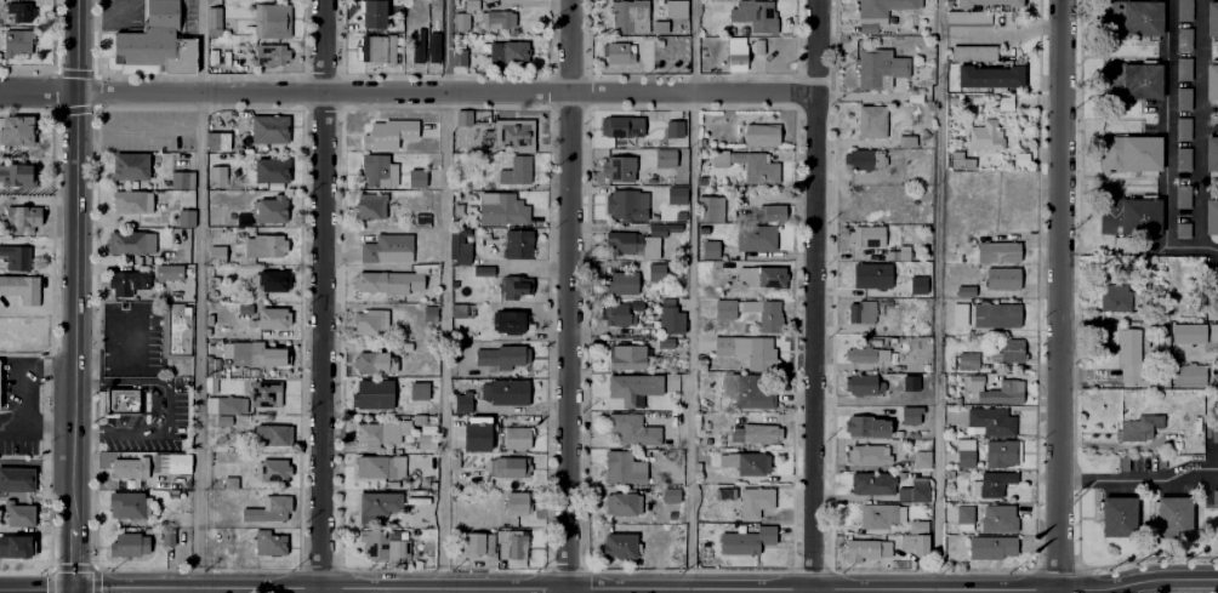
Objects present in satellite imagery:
building: (994, 0)
building: (671, 7)
building: (1182, 8)
building: (19, 10)
building: (875, 11)
building: (752, 13)
parking lot: (119, 15)
building: (375, 15)
building: (626, 15)
road: (121, 16)
building: (212, 16)
building: (964, 16)
building: (1128, 16)
building: (497, 17)
building: (460, 19)
building: (1213, 19)
building: (272, 21)
road: (93, 23)
building: (398, 24)
building: (656, 24)
building: (1182, 36)
building: (13, 40)
building: (154, 40)
building: (416, 42)
building: (756, 44)
road: (199, 45)
building: (433, 46)
building: (375, 47)
building: (507, 50)
building: (614, 50)
building: (969, 50)
building: (269, 52)
building: (733, 53)
building: (459, 55)
building: (875, 64)
building: (1182, 67)
building: (983, 72)
building: (1128, 78)
building: (1213, 82)
road: (38, 90)
road: (445, 90)
building: (910, 95)
building: (1182, 96)
building: (949, 97)
building: (973, 97)
road: (148, 107)
road: (79, 108)
road: (30, 114)
building: (463, 115)
building: (866, 118)
building: (615, 124)
road: (1200, 124)
building: (268, 126)
building: (671, 126)
building: (1180, 126)
building: (16, 129)
road: (152, 129)
building: (513, 131)
building: (395, 132)
building: (757, 133)
building: (981, 133)
building: (215, 137)
building: (901, 138)
building: (1127, 150)
road: (1165, 150)
road: (52, 152)
building: (1210, 152)
building: (860, 155)
building: (661, 156)
building: (1180, 156)
building: (956, 158)
building: (129, 162)
building: (614, 166)
building: (269, 167)
building: (379, 167)
building: (756, 167)
building: (516, 169)
building: (17, 176)
building: (216, 176)
building: (415, 176)
building: (181, 177)
road: (38, 189)
building: (668, 193)
building: (1180, 194)
building: (130, 199)
building: (624, 201)
building: (370, 203)
building: (501, 206)
building: (707, 206)
building: (268, 209)
building: (768, 210)
building: (1125, 211)
building: (19, 216)
building: (183, 216)
building: (1212, 216)
building: (1179, 228)
building: (865, 234)
building: (756, 236)
building: (130, 239)
building: (517, 241)
building: (630, 241)
building: (264, 244)
building: (460, 246)
building: (386, 247)
building: (710, 247)
building: (994, 250)
building: (895, 251)
building: (215, 252)
building: (15, 253)
building: (166, 269)
building: (651, 270)
building: (483, 272)
building: (871, 273)
building: (756, 274)
building: (997, 276)
building: (271, 278)
building: (125, 280)
building: (388, 280)
building: (620, 280)
building: (917, 283)
building: (1143, 285)
building: (19, 286)
building: (514, 287)
building: (961, 287)
road: (74, 293)
building: (1114, 293)
road: (321, 296)
road: (443, 296)
road: (567, 296)
road: (691, 296)
road: (814, 296)
road: (937, 296)
road: (1060, 296)
building: (461, 309)
building: (725, 309)
building: (429, 310)
building: (859, 310)
building: (613, 312)
building: (956, 313)
building: (992, 313)
building: (767, 314)
building: (271, 317)
building: (209, 318)
building: (668, 318)
building: (370, 320)
building: (513, 323)
building: (744, 327)
building: (173, 330)
building: (1185, 331)
building: (1212, 331)
building: (662, 341)
road: (198, 342)
building: (1217, 342)
building: (406, 347)
building: (744, 347)
building: (1004, 348)
building: (256, 352)
building: (860, 352)
road: (1200, 353)
building: (1127, 354)
building: (625, 355)
building: (502, 357)
building: (962, 359)
building: (421, 361)
building: (371, 363)
building: (1185, 372)
building: (972, 380)
building: (907, 381)
building: (855, 382)
road: (89, 383)
building: (628, 386)
building: (744, 389)
building: (1002, 390)
building: (264, 392)
building: (417, 392)
building: (370, 393)
building: (510, 394)
building: (463, 400)
building: (123, 401)
building: (223, 404)
road: (164, 407)
building: (462, 410)
building: (906, 412)
building: (988, 418)
building: (863, 423)
building: (627, 427)
building: (1134, 427)
road: (87, 432)
building: (381, 432)
building: (474, 432)
building: (752, 432)
building: (273, 433)
building: (512, 437)
building: (702, 439)
building: (423, 441)
building: (962, 451)
building: (998, 451)
building: (869, 452)
building: (917, 456)
building: (741, 460)
building: (178, 464)
building: (380, 464)
building: (505, 466)
building: (131, 467)
building: (620, 467)
building: (271, 468)
building: (17, 480)
building: (865, 480)
road: (1139, 480)
building: (229, 481)
building: (986, 481)
building: (910, 487)
building: (722, 491)
building: (666, 494)
building: (1212, 495)
building: (214, 497)
building: (751, 500)
building: (512, 501)
building: (617, 501)
building: (127, 504)
building: (377, 506)
building: (268, 507)
building: (961, 512)
building: (16, 514)
building: (876, 514)
building: (995, 517)
building: (1171, 517)
building: (1116, 519)
building: (915, 523)
building: (741, 538)
building: (268, 541)
building: (614, 542)
building: (915, 543)
building: (383, 544)
building: (479, 544)
building: (988, 544)
building: (863, 546)
building: (16, 547)
building: (130, 547)
building: (518, 548)
building: (502, 551)
road: (1178, 586)
road: (645, 587)
road: (36, 591)
road: (73, 591)
road: (159, 591)
road: (2, 592)

